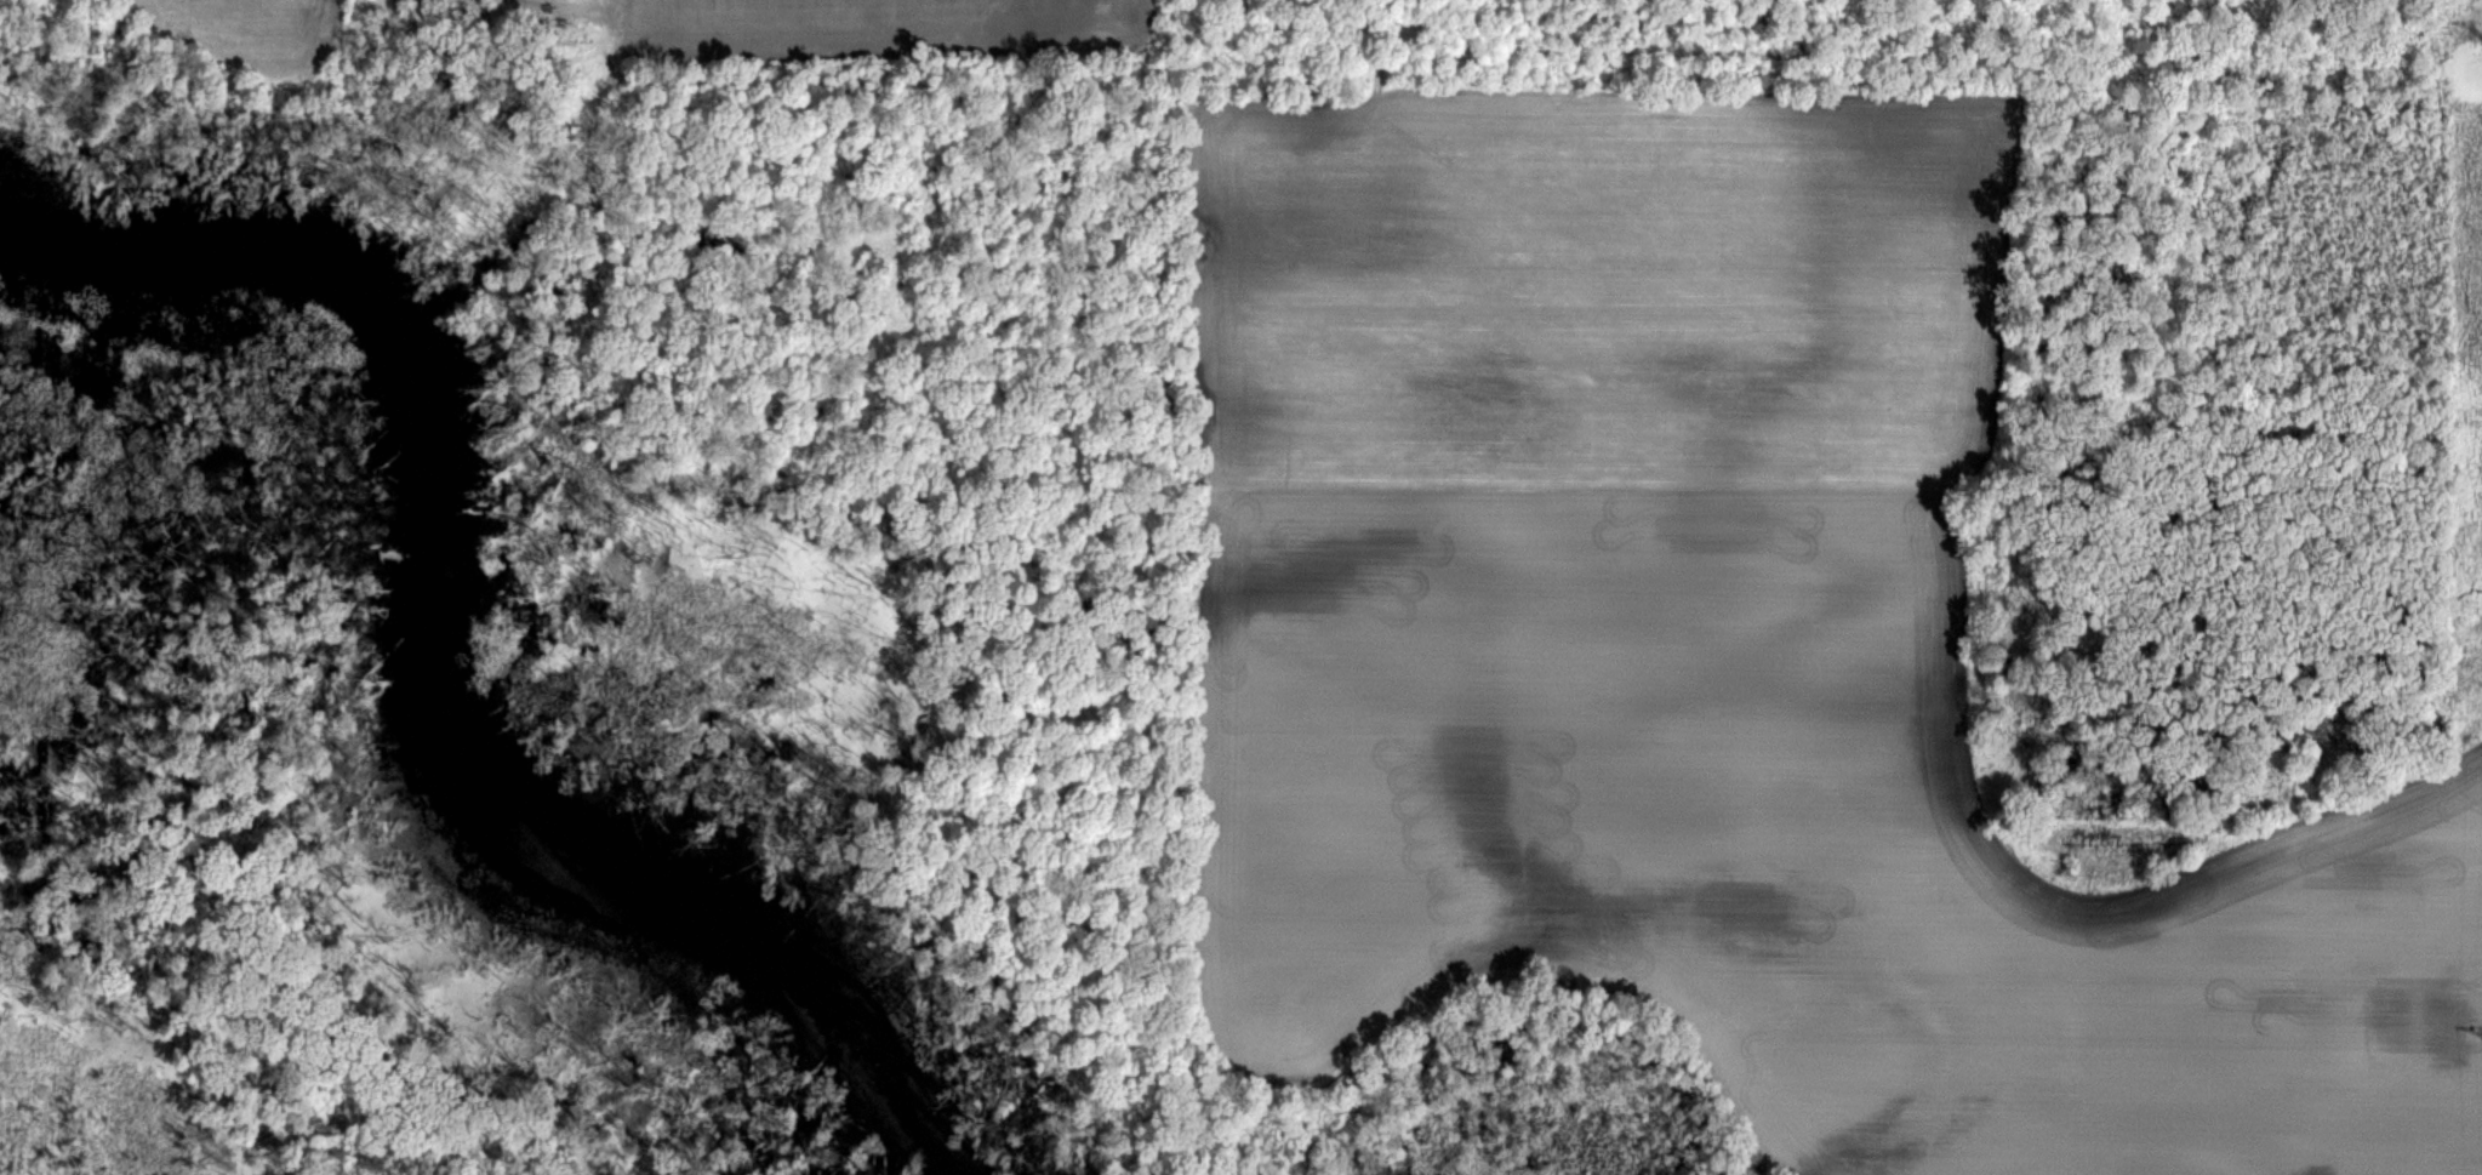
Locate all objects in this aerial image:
river: (433, 662)

